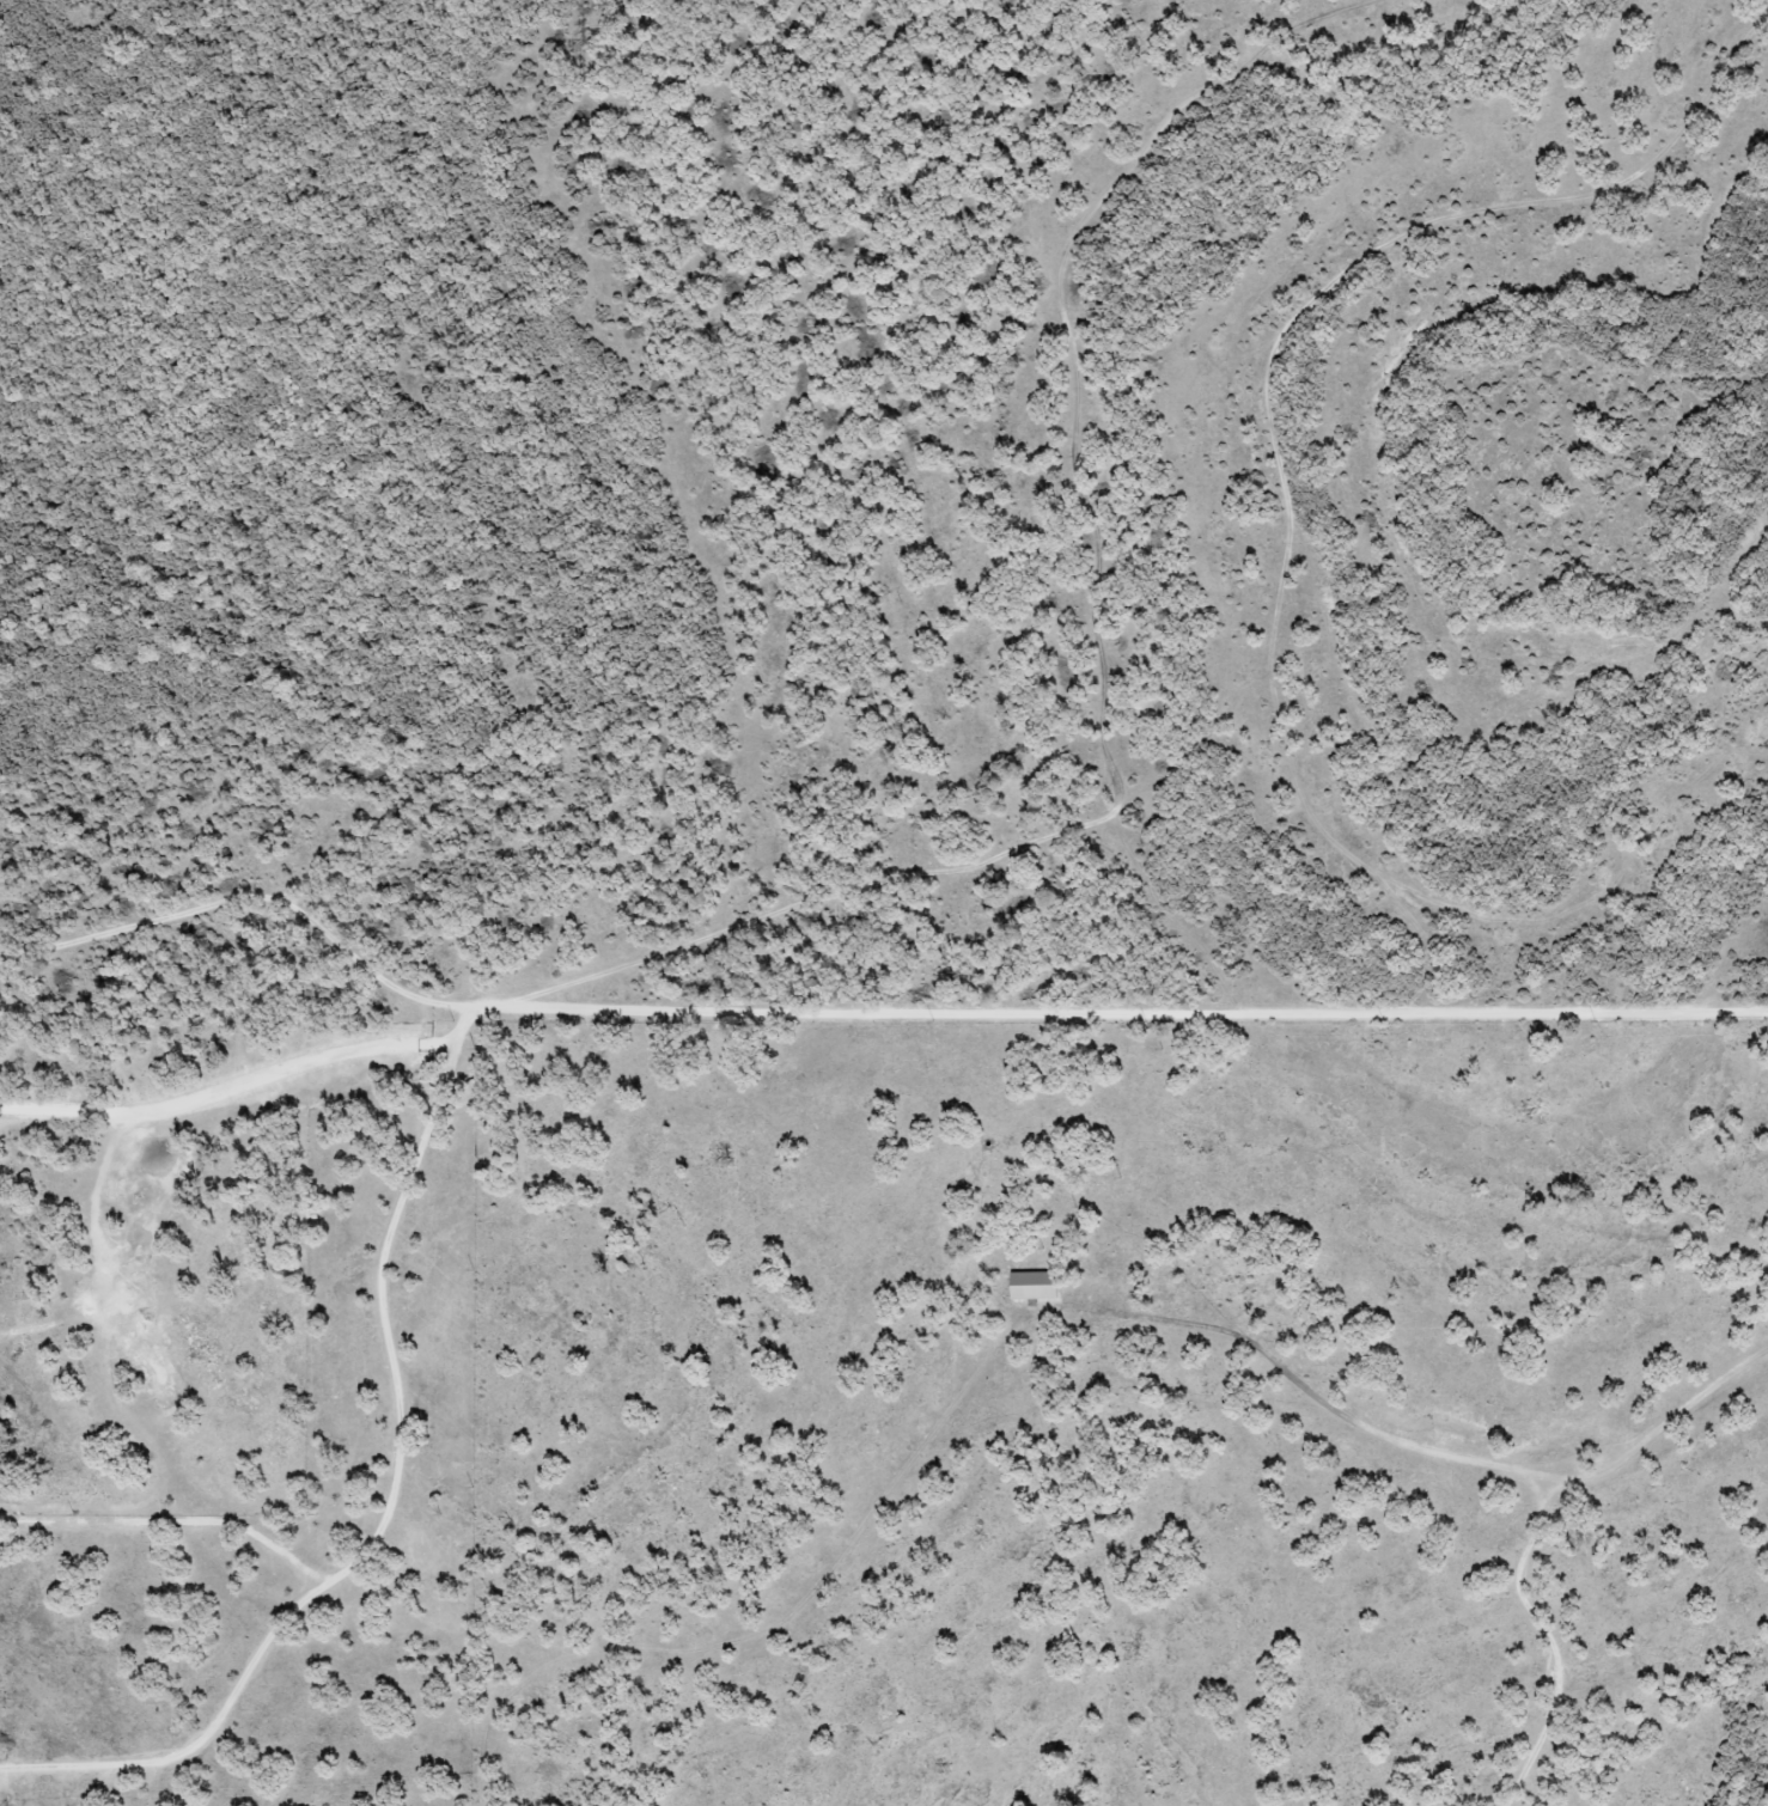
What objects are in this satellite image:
road: (1062, 811)
road: (1120, 1013)
road: (458, 1035)
road: (228, 1088)
building: (1030, 1286)

